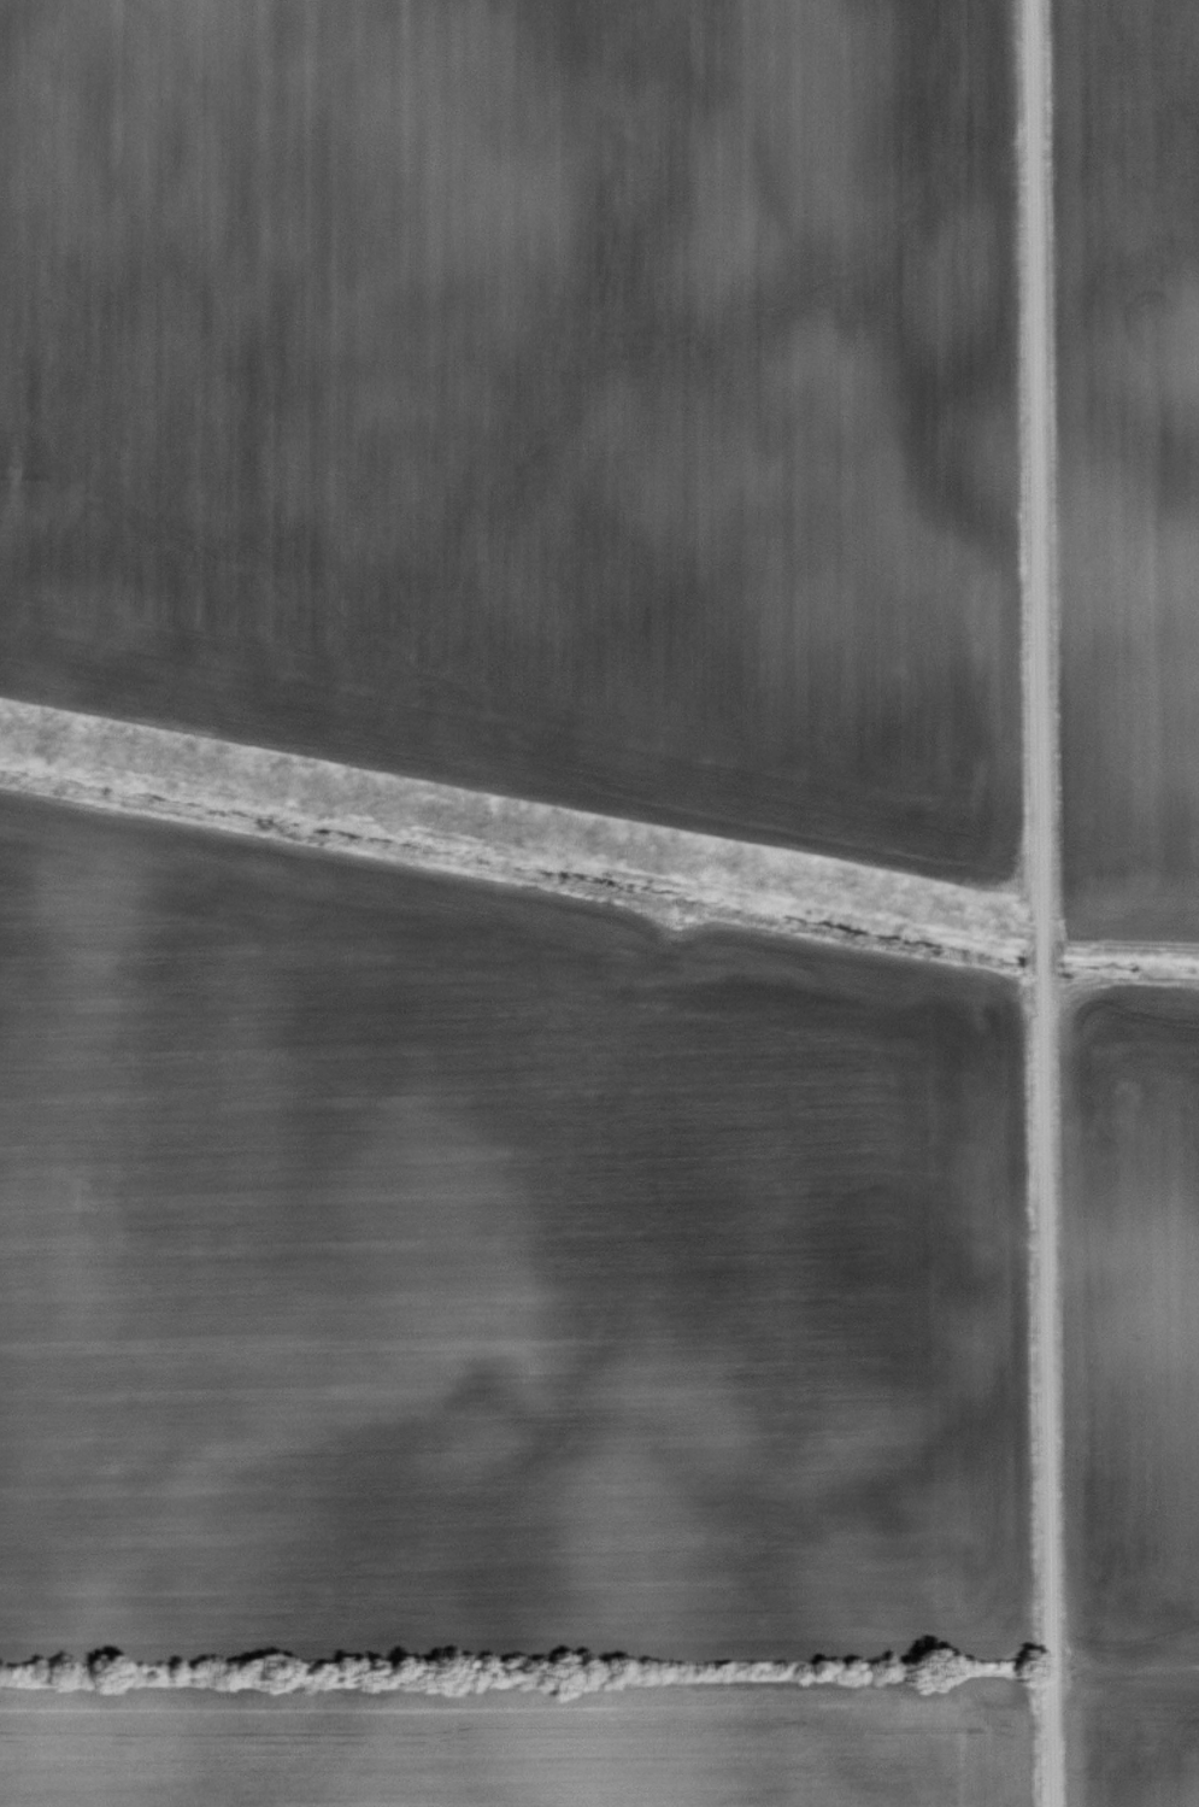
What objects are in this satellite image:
road: (1040, 903)

